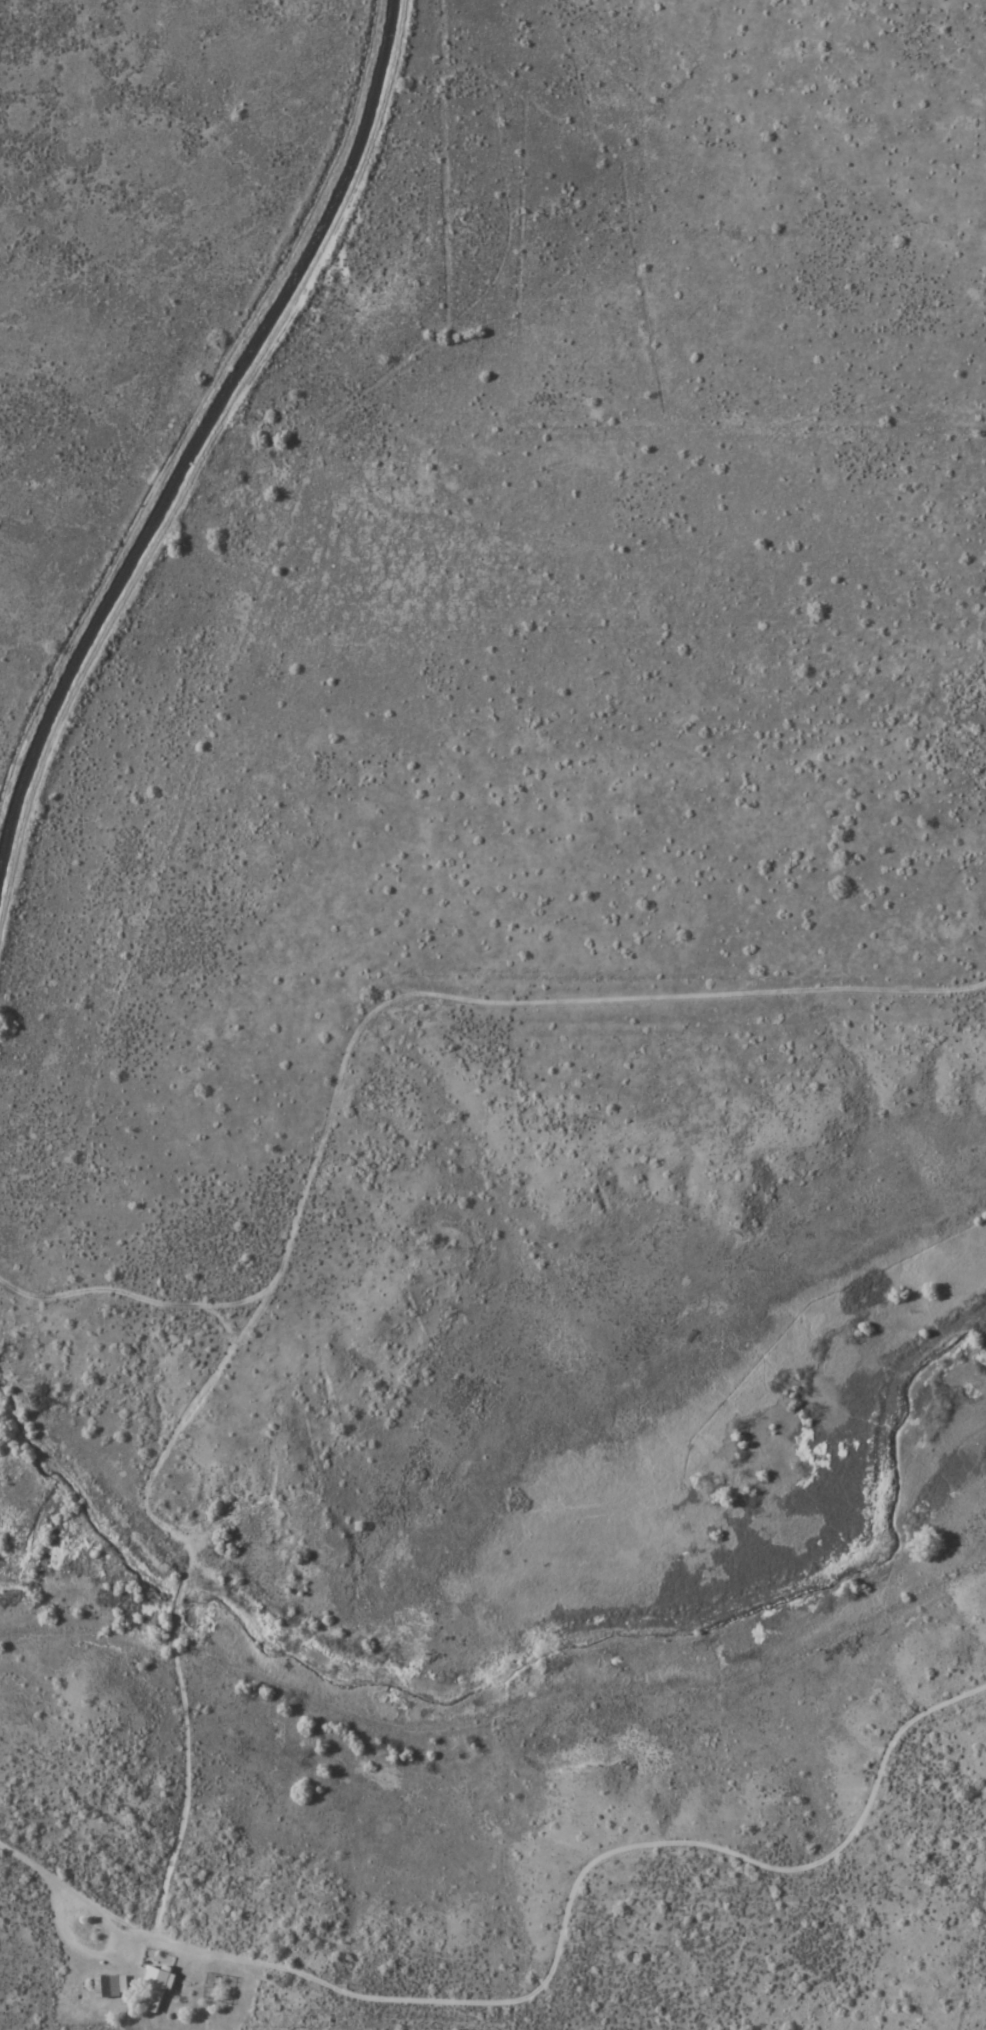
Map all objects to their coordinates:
road: (556, 1969)
building: (109, 1985)
building: (158, 1985)

